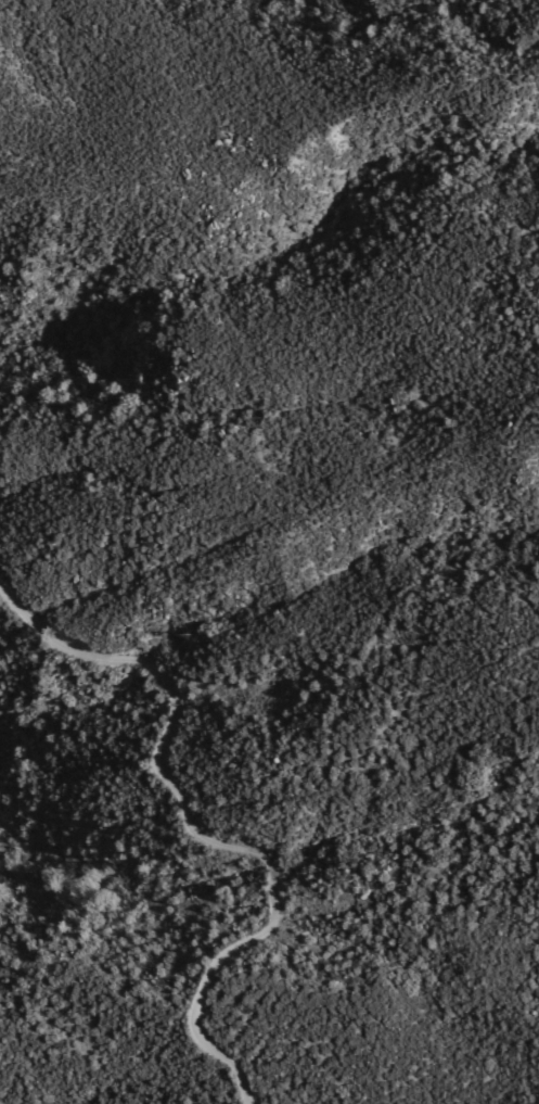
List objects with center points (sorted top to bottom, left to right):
road: (213, 834)

